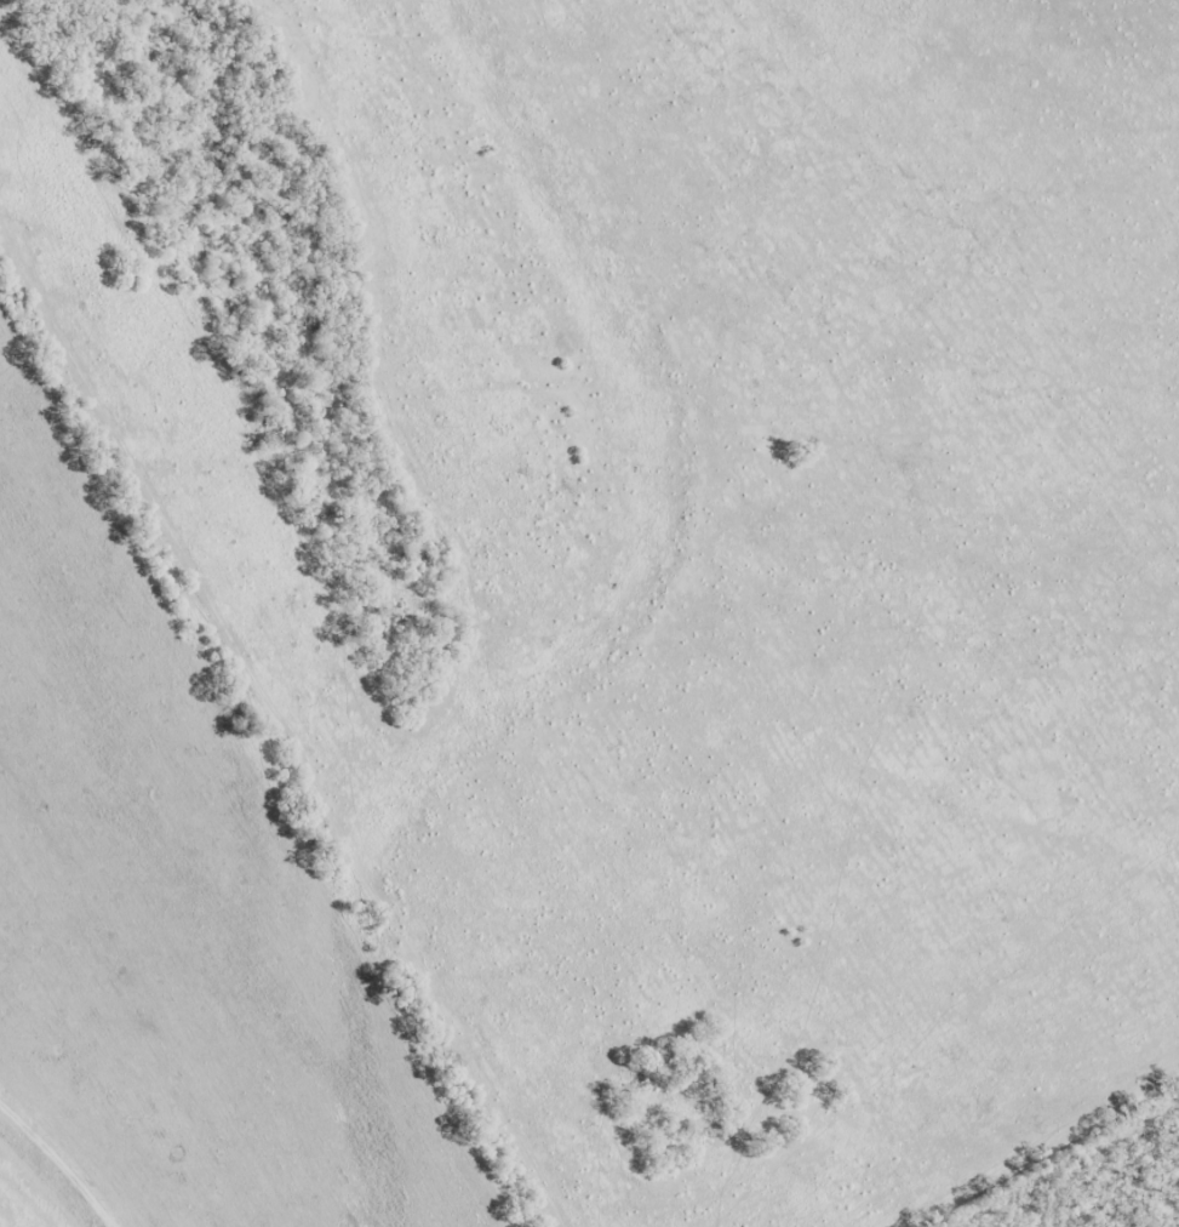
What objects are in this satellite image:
road: (1112, 1197)

